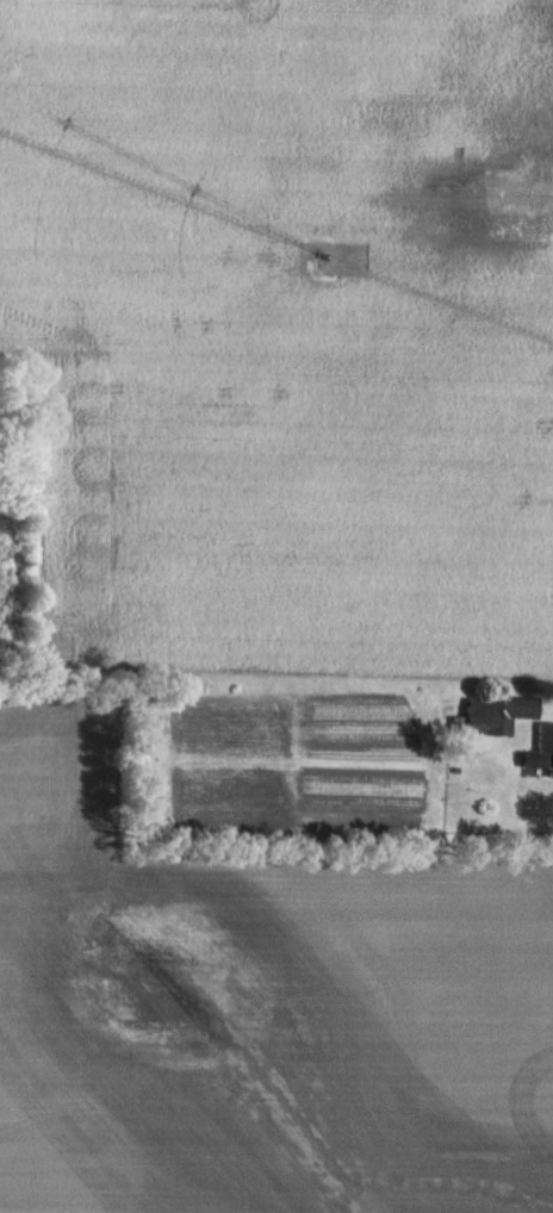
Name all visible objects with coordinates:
building: (490, 714)
building: (539, 749)

